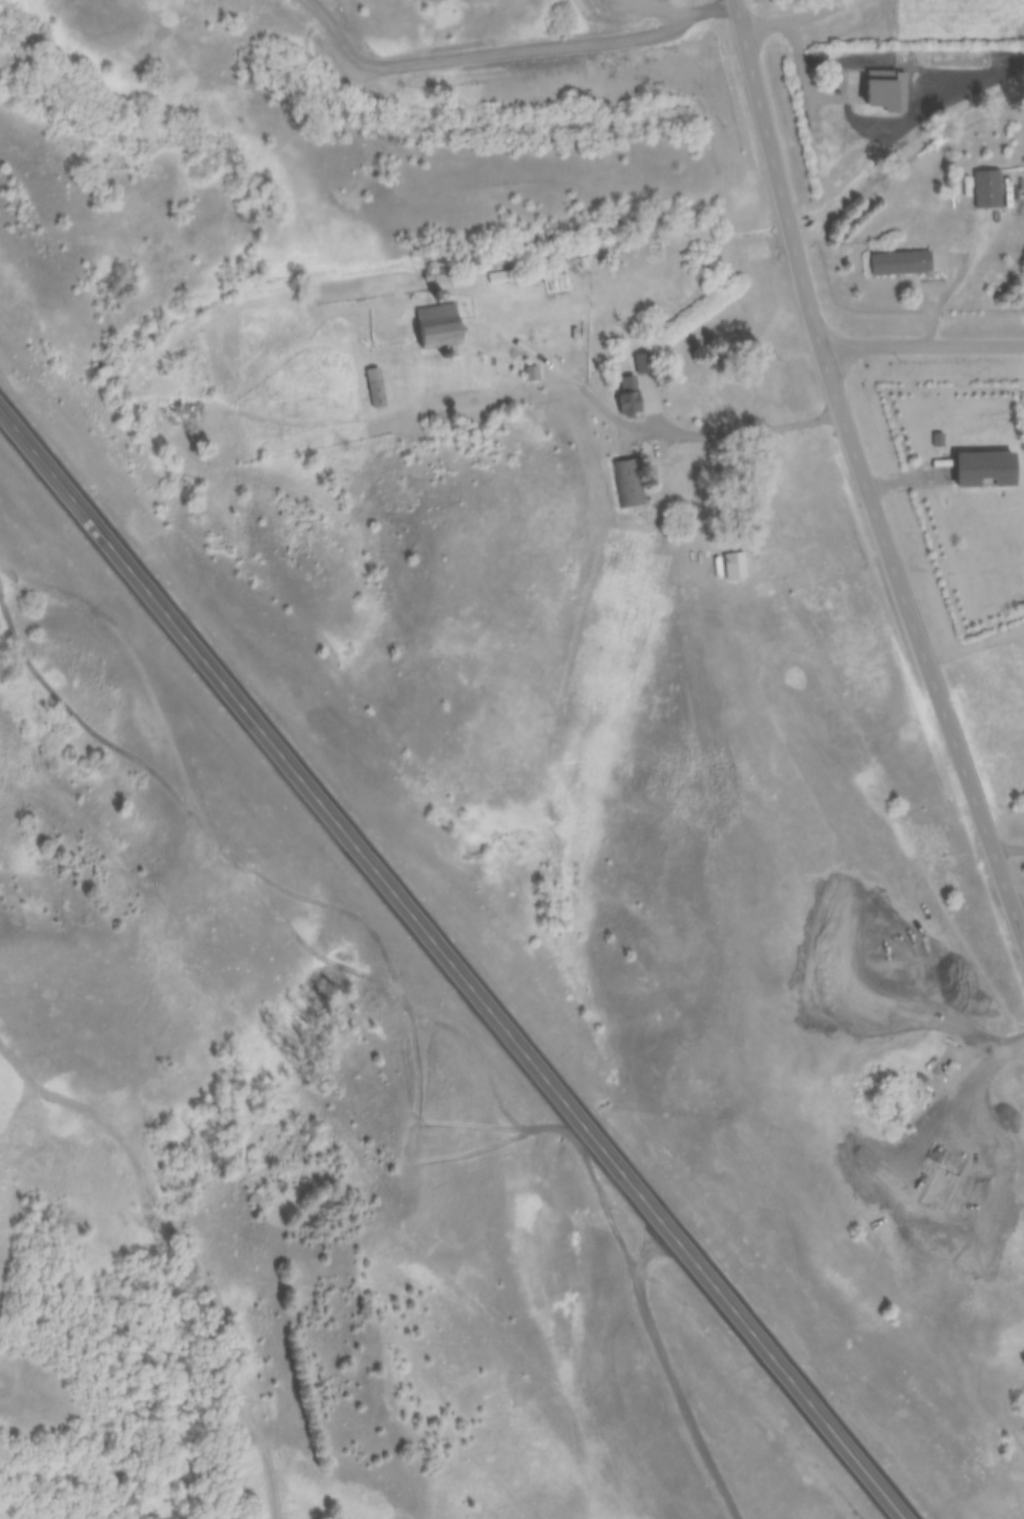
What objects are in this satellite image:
road: (795, 16)
building: (987, 189)
building: (899, 262)
building: (430, 275)
road: (957, 276)
building: (494, 278)
building: (430, 326)
road: (922, 341)
building: (641, 363)
building: (523, 374)
building: (366, 388)
building: (628, 395)
road: (707, 427)
building: (988, 469)
road: (862, 471)
building: (625, 483)
building: (728, 566)
road: (1008, 843)
road: (1019, 904)
road: (453, 961)
road: (669, 1369)

